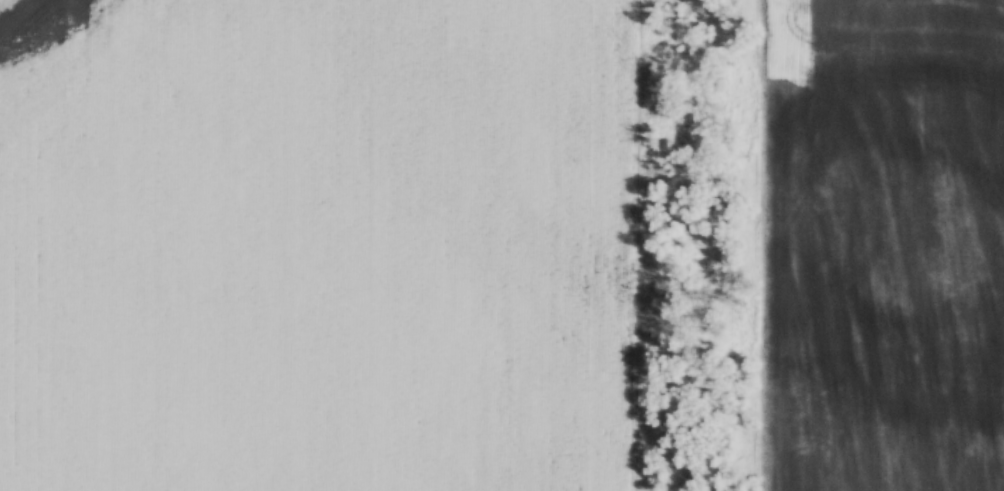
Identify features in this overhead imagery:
crop: (882, 245)

